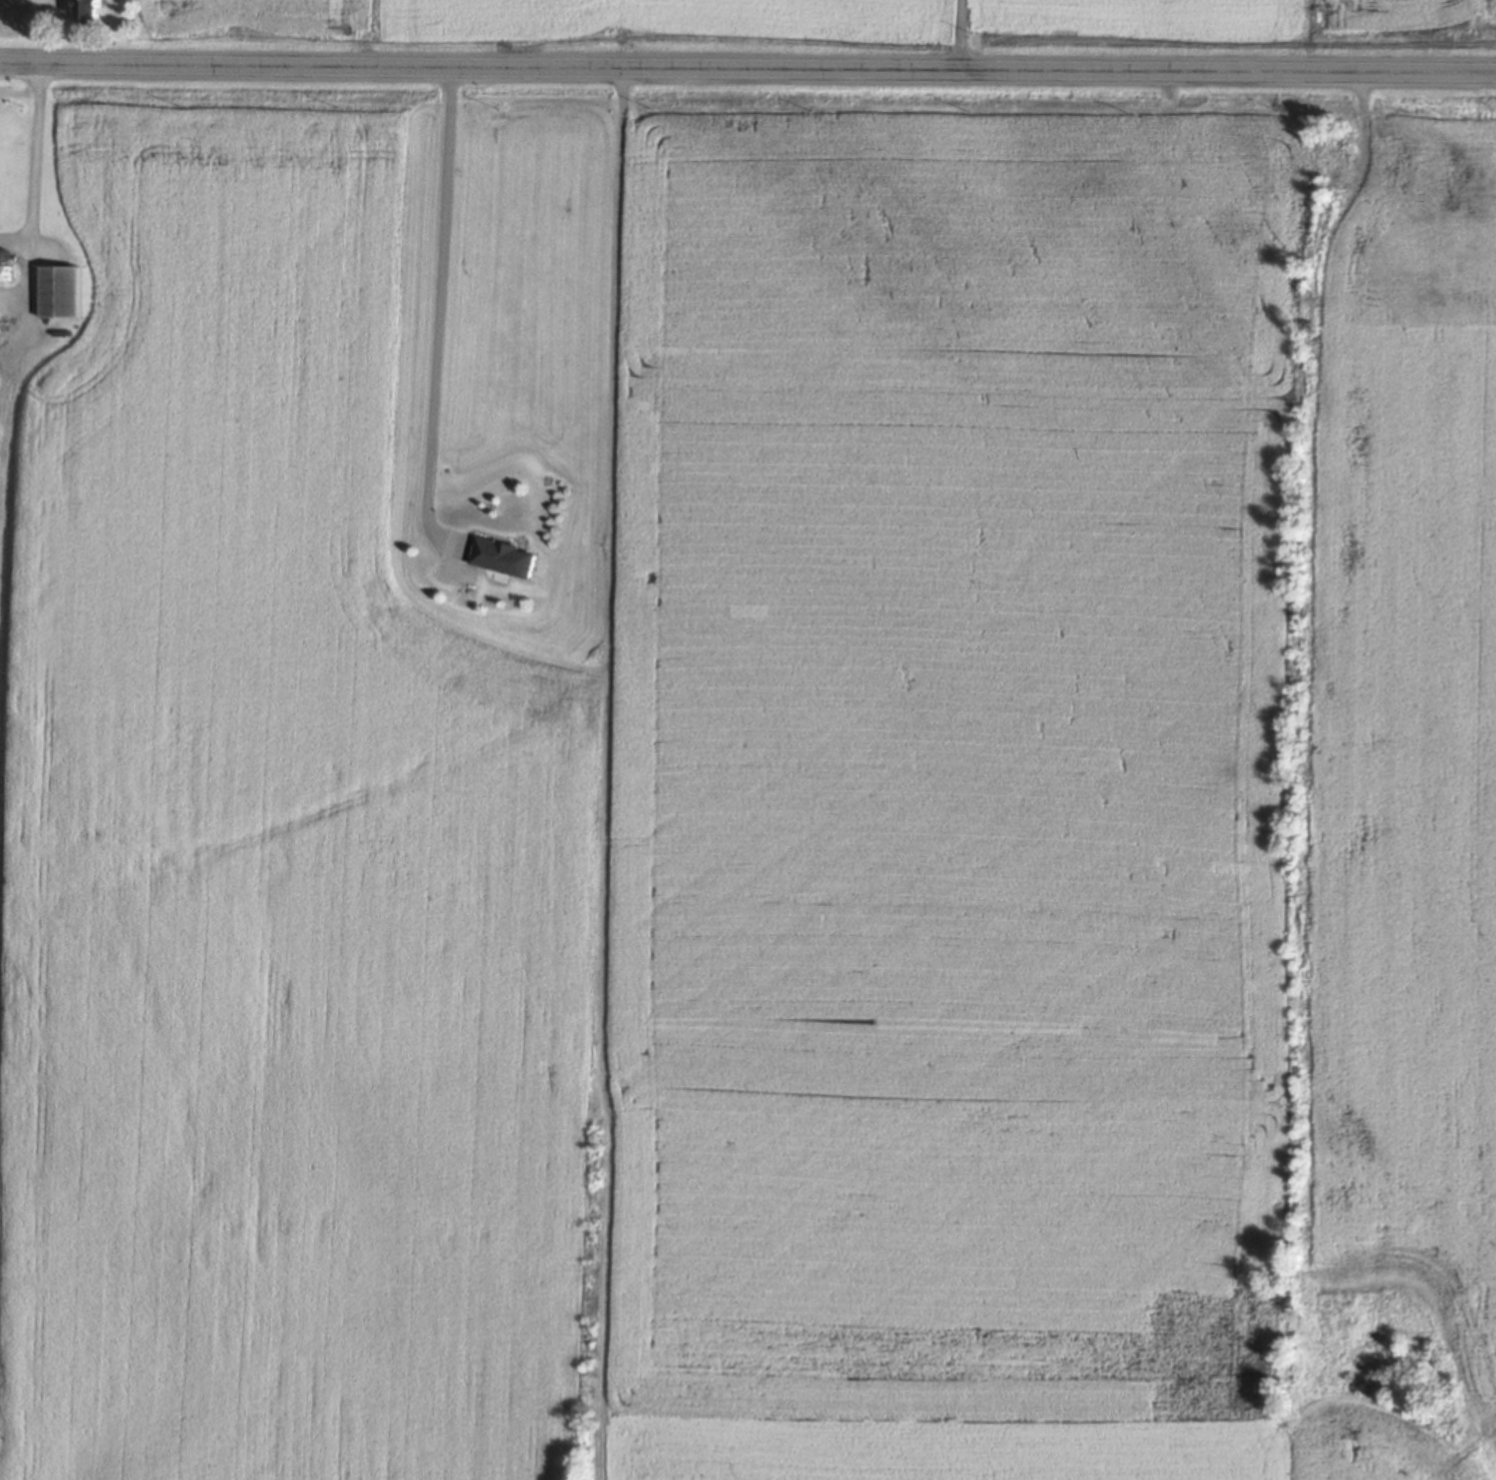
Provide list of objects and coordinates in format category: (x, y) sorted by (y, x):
building: (89, 12)
road: (960, 33)
road: (747, 65)
road: (36, 163)
building: (7, 272)
building: (61, 292)
road: (438, 310)
building: (505, 557)

